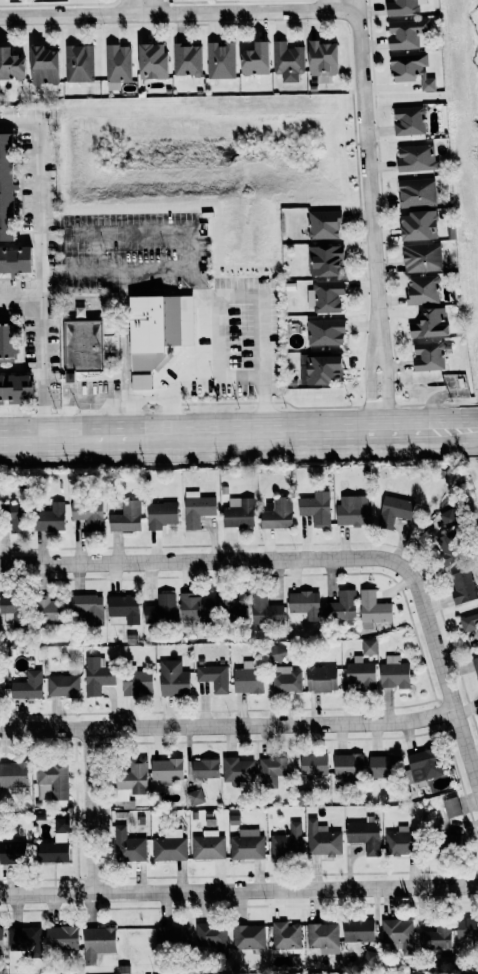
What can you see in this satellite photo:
road: (338, 4)
road: (141, 6)
building: (402, 7)
road: (341, 8)
building: (405, 33)
building: (187, 59)
building: (254, 59)
building: (220, 60)
building: (321, 60)
building: (151, 61)
building: (287, 61)
building: (78, 63)
building: (118, 64)
building: (10, 65)
building: (41, 65)
building: (410, 69)
building: (408, 120)
road: (19, 125)
building: (414, 157)
building: (5, 189)
building: (415, 192)
building: (322, 225)
building: (416, 226)
building: (420, 257)
building: (15, 260)
building: (323, 260)
road: (198, 273)
road: (124, 280)
road: (199, 281)
road: (40, 283)
building: (422, 289)
road: (213, 294)
building: (327, 296)
road: (20, 298)
building: (428, 323)
building: (156, 328)
building: (325, 332)
building: (6, 340)
road: (124, 343)
building: (80, 347)
road: (199, 348)
building: (427, 356)
building: (322, 370)
building: (139, 382)
road: (387, 383)
road: (367, 384)
building: (13, 389)
road: (230, 389)
road: (148, 398)
road: (89, 400)
road: (169, 417)
road: (127, 418)
road: (477, 429)
road: (238, 434)
building: (316, 508)
building: (197, 509)
building: (393, 511)
building: (238, 512)
building: (352, 512)
building: (86, 515)
building: (160, 515)
building: (124, 516)
building: (12, 517)
building: (48, 518)
building: (449, 548)
road: (207, 562)
building: (461, 587)
building: (304, 603)
building: (341, 606)
building: (194, 607)
building: (7, 608)
building: (88, 608)
building: (122, 608)
building: (230, 608)
building: (46, 609)
building: (373, 609)
building: (160, 610)
building: (265, 611)
building: (469, 623)
building: (369, 647)
building: (276, 653)
building: (475, 668)
building: (361, 673)
building: (393, 673)
building: (96, 676)
building: (213, 677)
building: (172, 678)
building: (247, 679)
building: (320, 679)
building: (286, 680)
building: (136, 683)
building: (1, 686)
building: (27, 686)
building: (62, 686)
road: (445, 686)
road: (227, 725)
building: (312, 764)
building: (347, 765)
building: (423, 765)
building: (382, 767)
building: (165, 769)
building: (204, 769)
building: (237, 771)
building: (271, 771)
building: (13, 775)
building: (53, 779)
building: (131, 780)
building: (194, 797)
building: (451, 807)
road: (89, 811)
building: (363, 837)
building: (321, 840)
building: (447, 841)
building: (287, 843)
building: (398, 844)
building: (247, 845)
building: (128, 846)
building: (170, 846)
building: (208, 846)
building: (54, 847)
building: (11, 852)
road: (239, 892)
building: (357, 930)
building: (397, 933)
building: (466, 934)
building: (285, 935)
building: (248, 937)
building: (323, 937)
building: (60, 938)
building: (172, 938)
building: (210, 938)
building: (435, 938)
building: (0, 939)
building: (23, 939)
building: (97, 942)
building: (369, 959)

